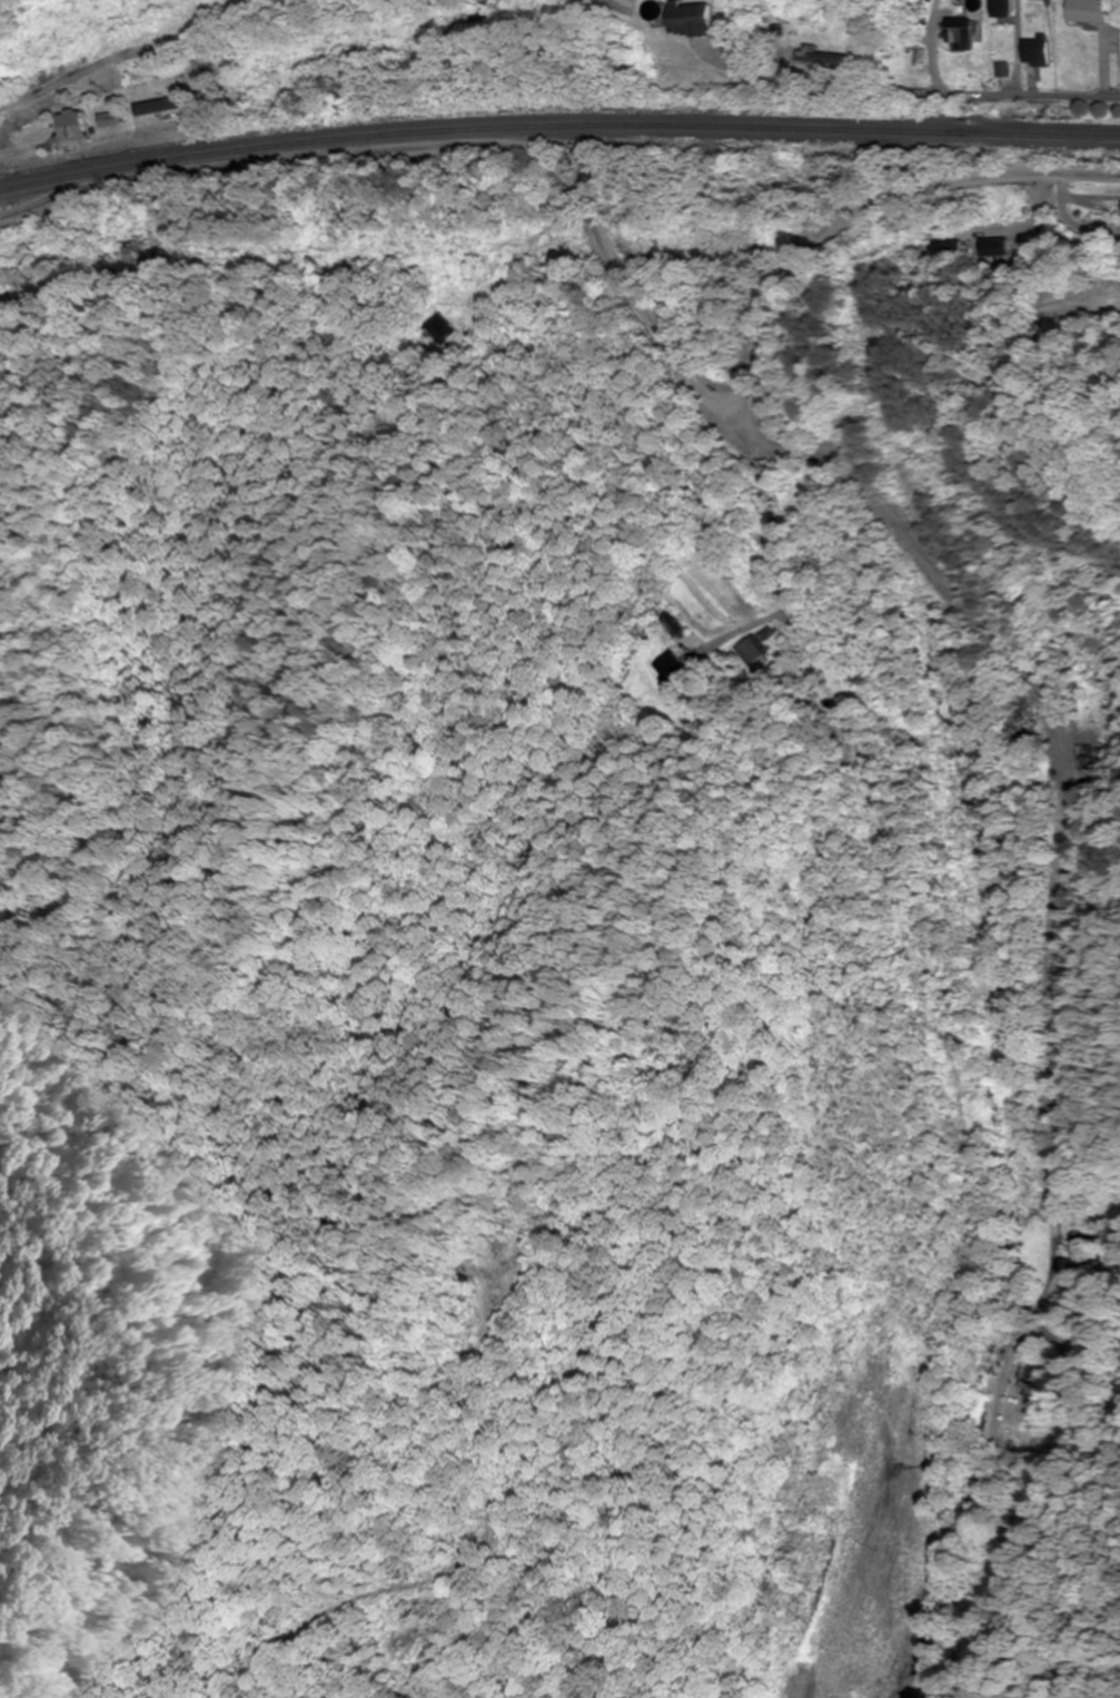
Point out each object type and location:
building: (1001, 8)
building: (1090, 11)
building: (691, 19)
building: (959, 31)
building: (1037, 53)
road: (944, 55)
building: (269, 85)
road: (9, 106)
road: (931, 108)
building: (72, 126)
railway: (557, 126)
road: (436, 146)
road: (871, 217)
building: (993, 248)
building: (444, 327)
building: (759, 652)
building: (676, 667)
road: (1069, 993)
building: (865, 1504)

